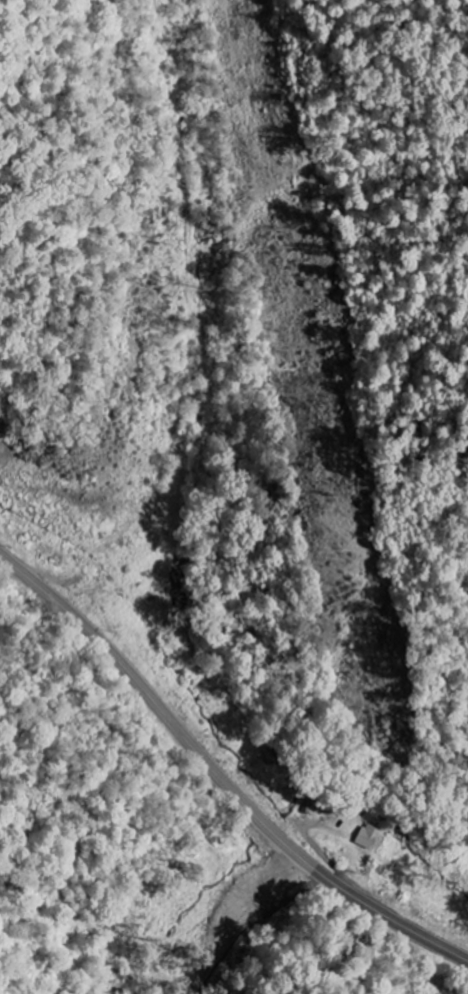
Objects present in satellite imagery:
road: (218, 776)
building: (365, 836)

